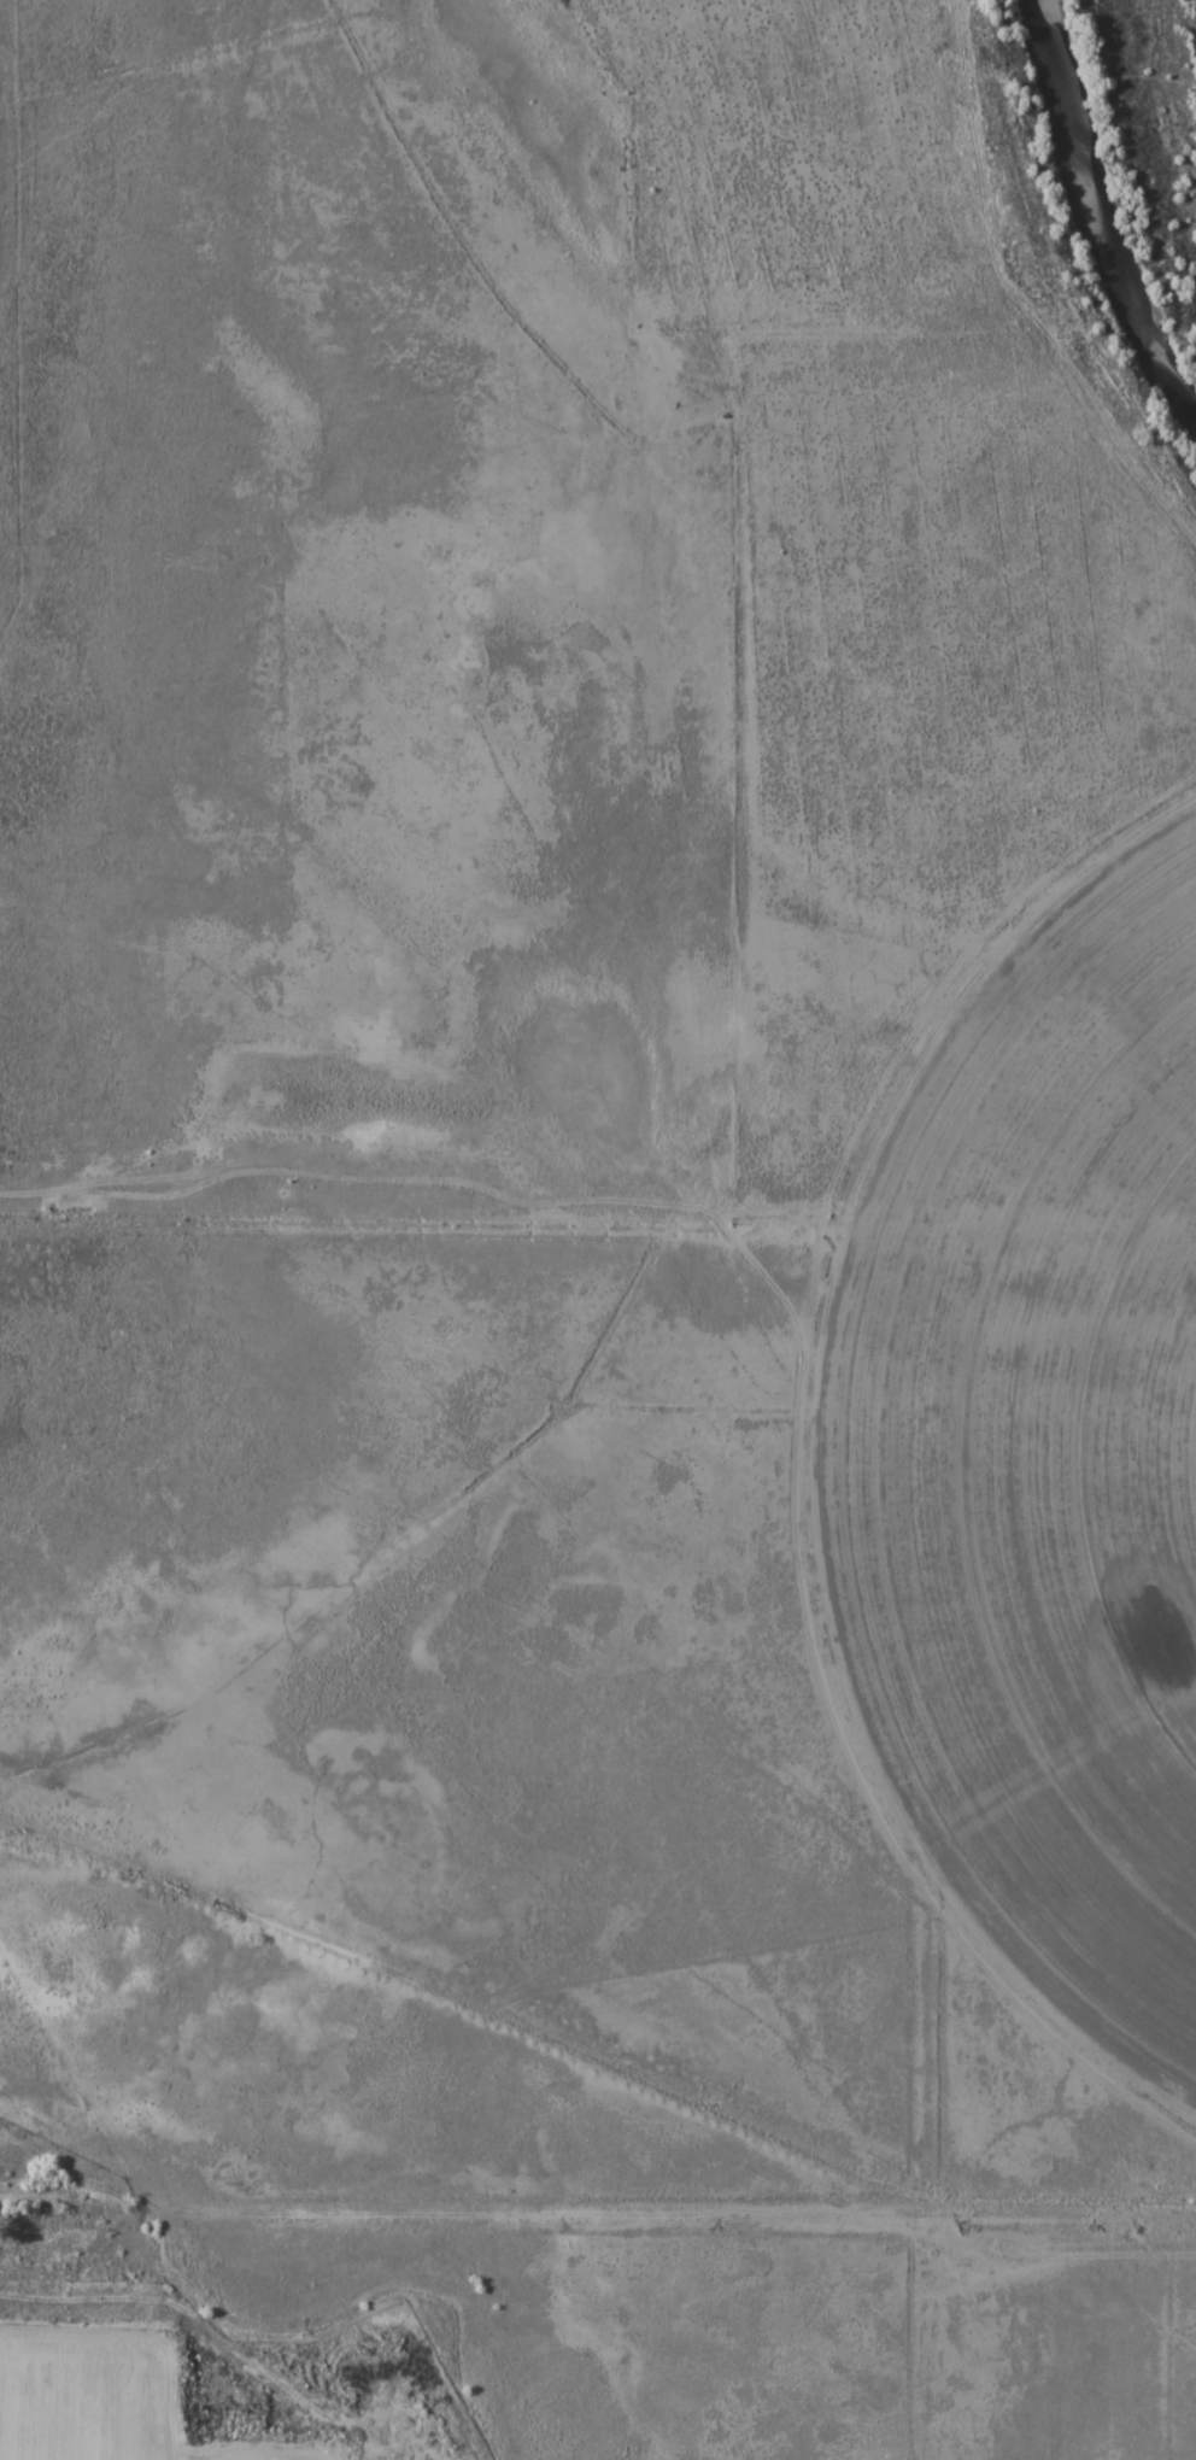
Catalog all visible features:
river: (1098, 213)

